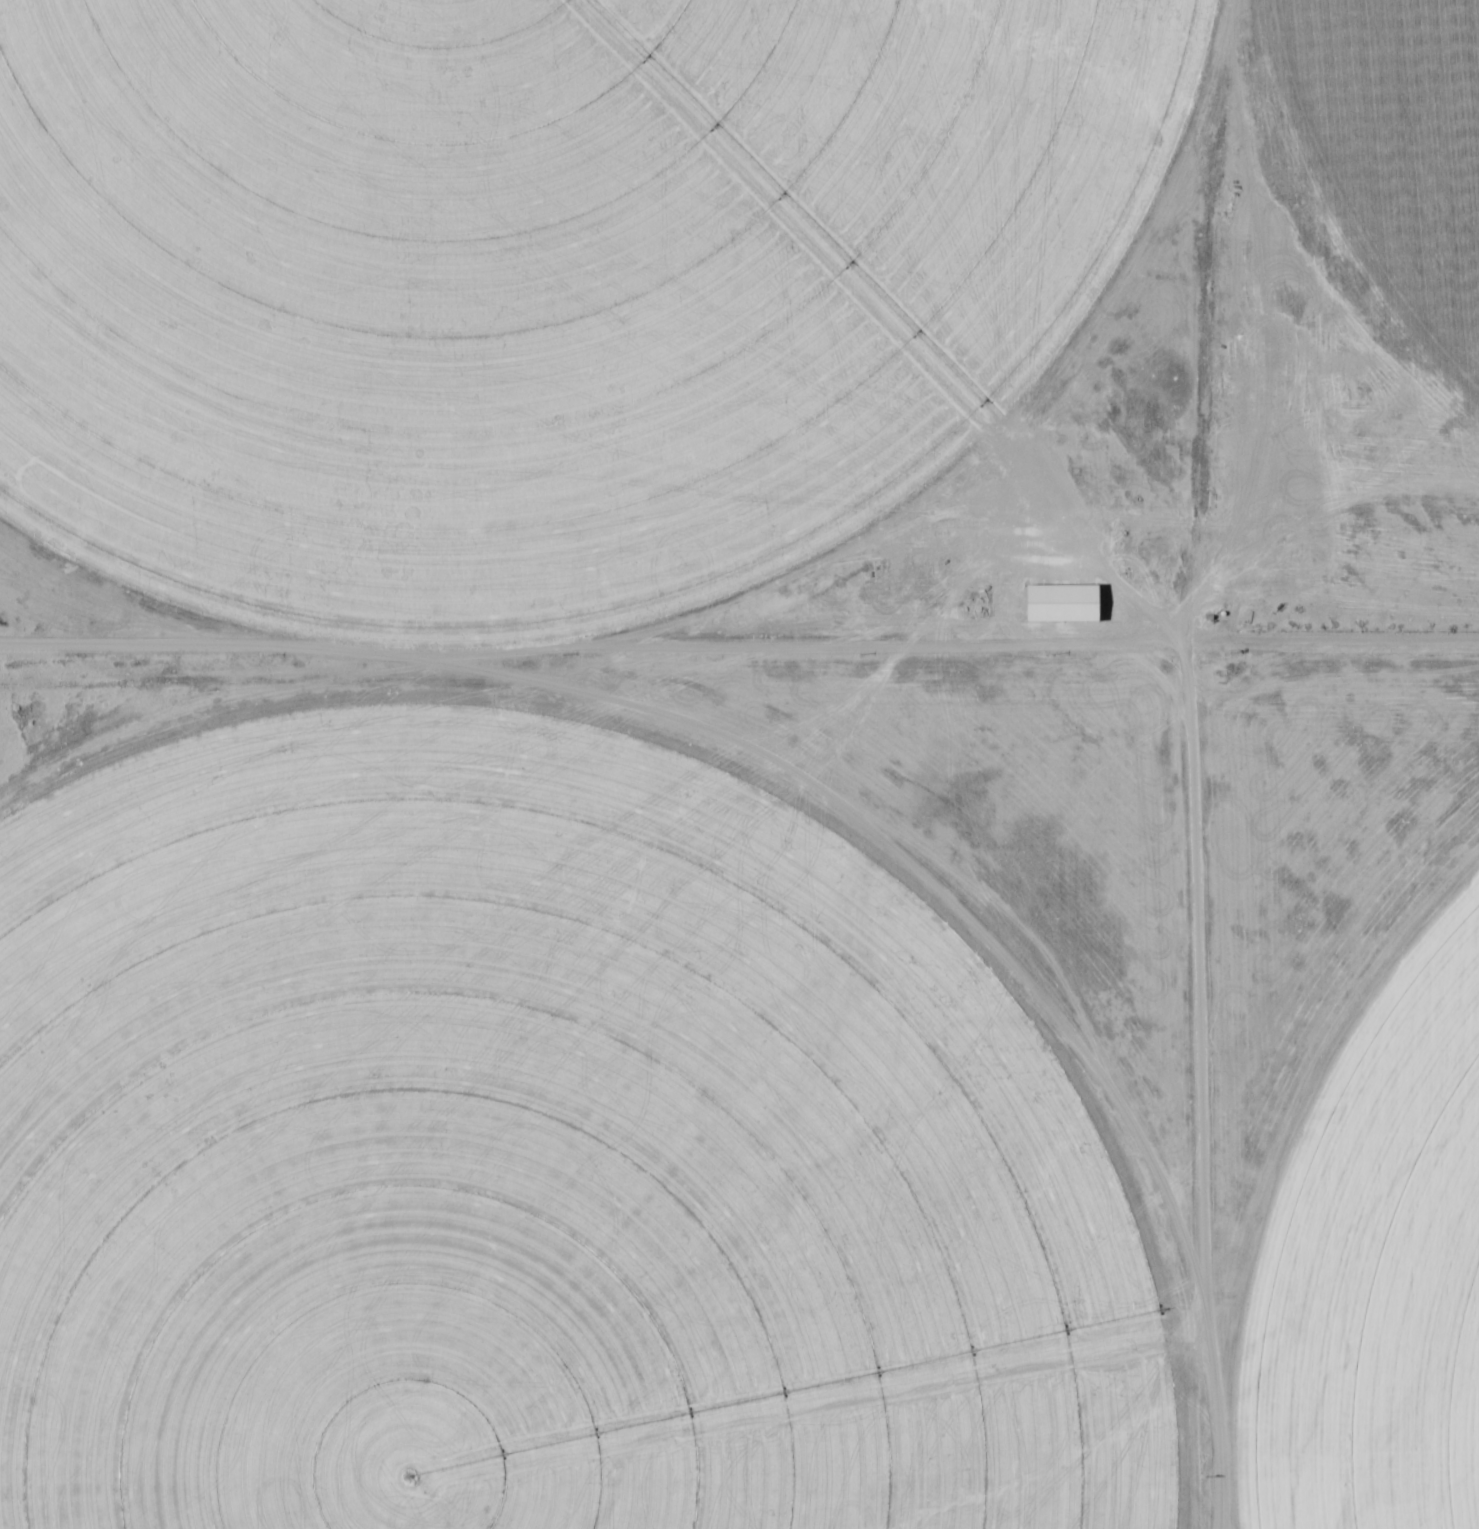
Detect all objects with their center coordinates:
crop: (1395, 149)
crop: (547, 281)
road: (739, 644)
road: (242, 679)
road: (897, 845)
road: (1198, 1085)
crop: (537, 1153)
crop: (1378, 1276)

